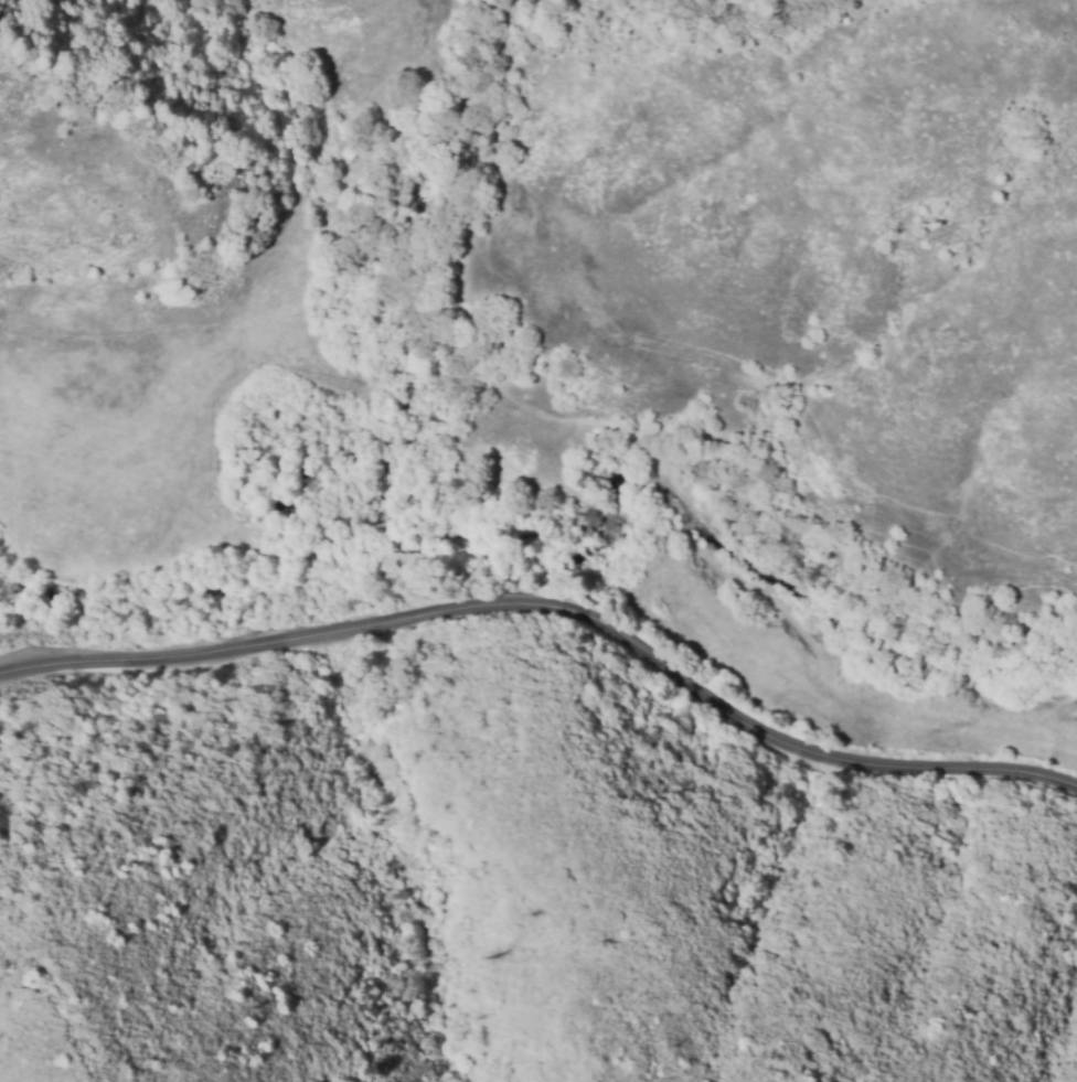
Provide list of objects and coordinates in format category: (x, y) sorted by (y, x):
road: (555, 612)

